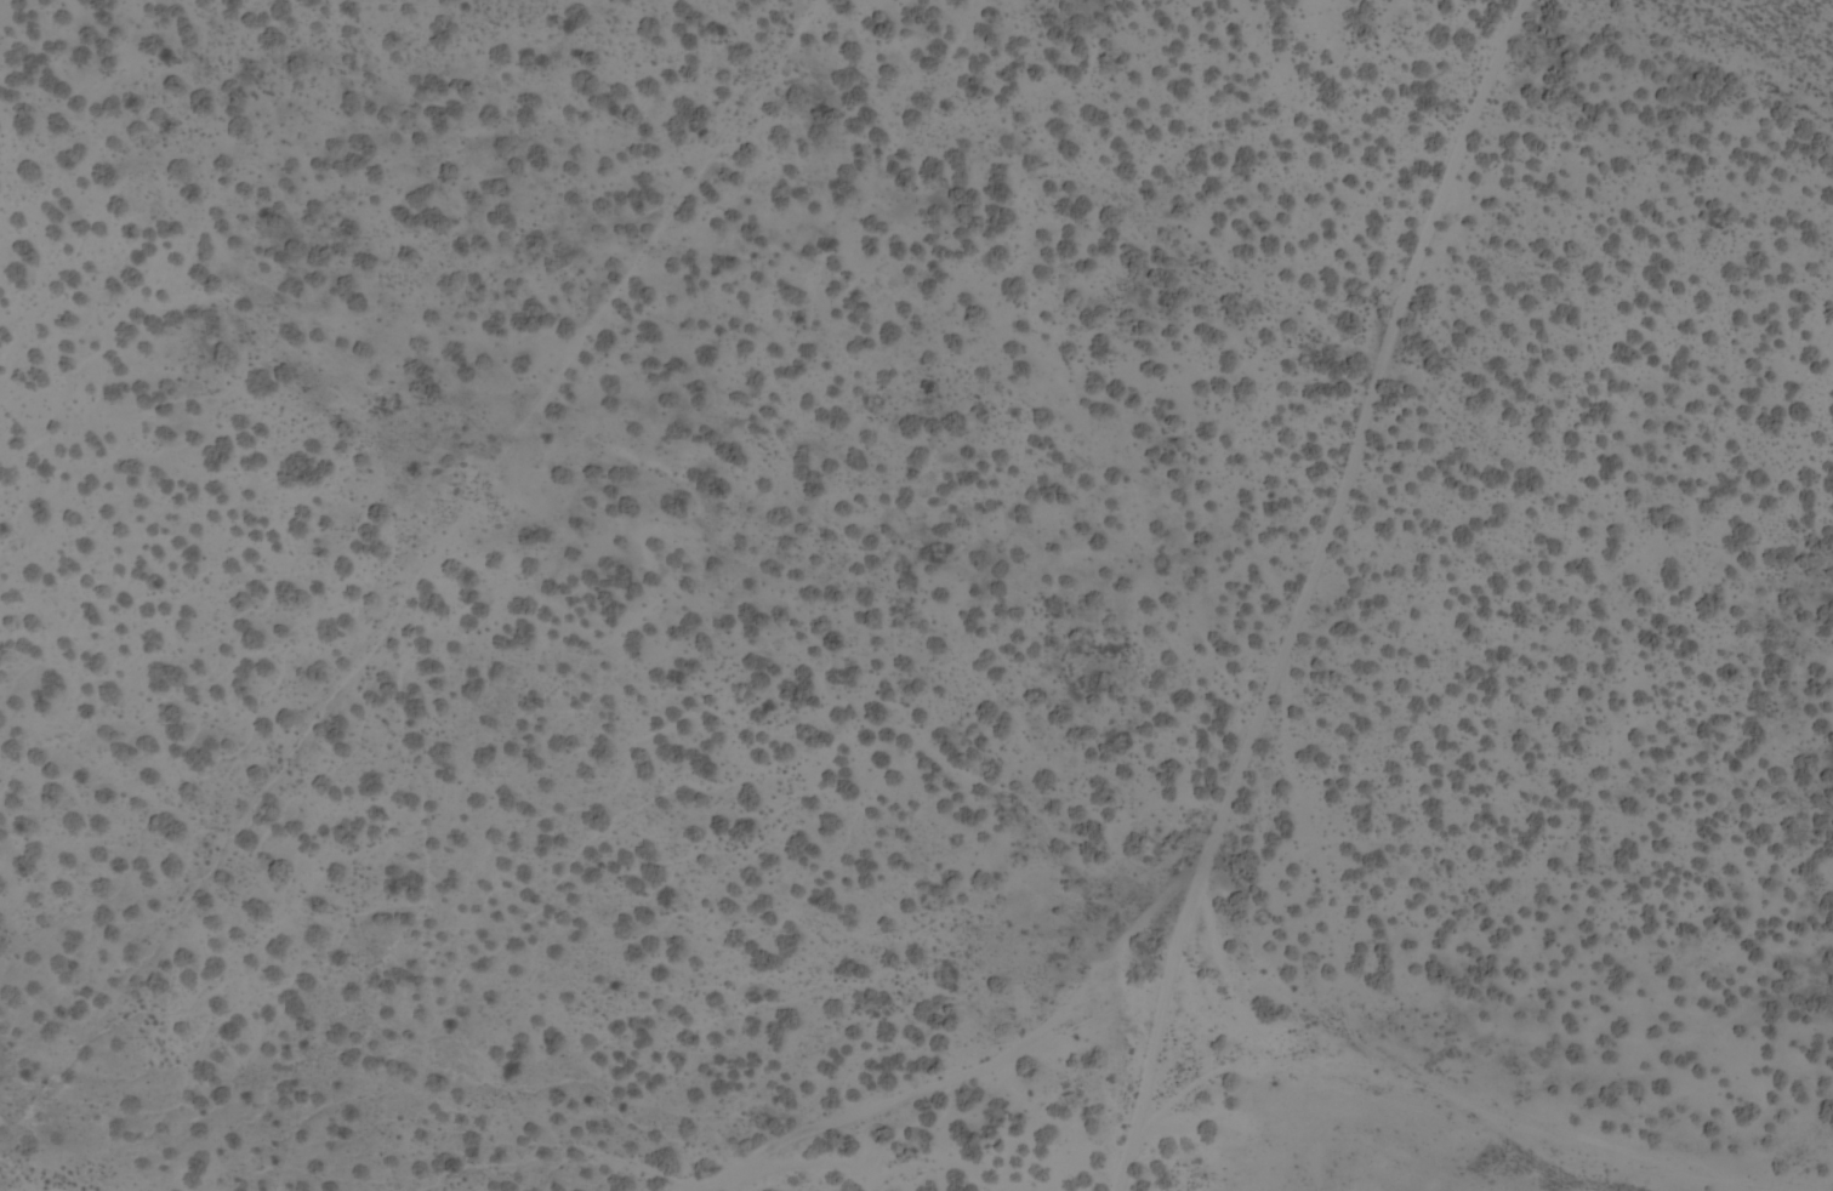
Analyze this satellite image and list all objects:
road: (1307, 589)

